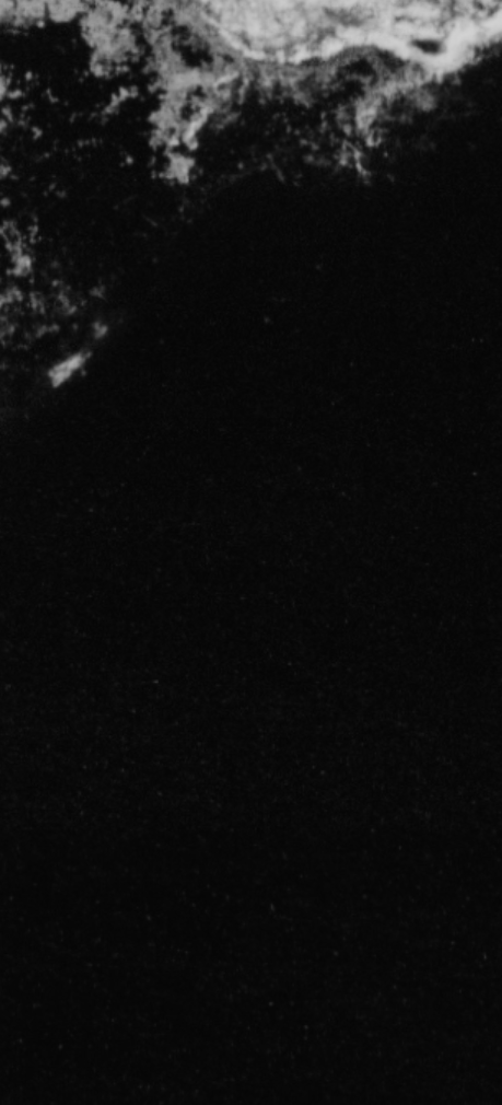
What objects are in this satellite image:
road: (420, 46)

